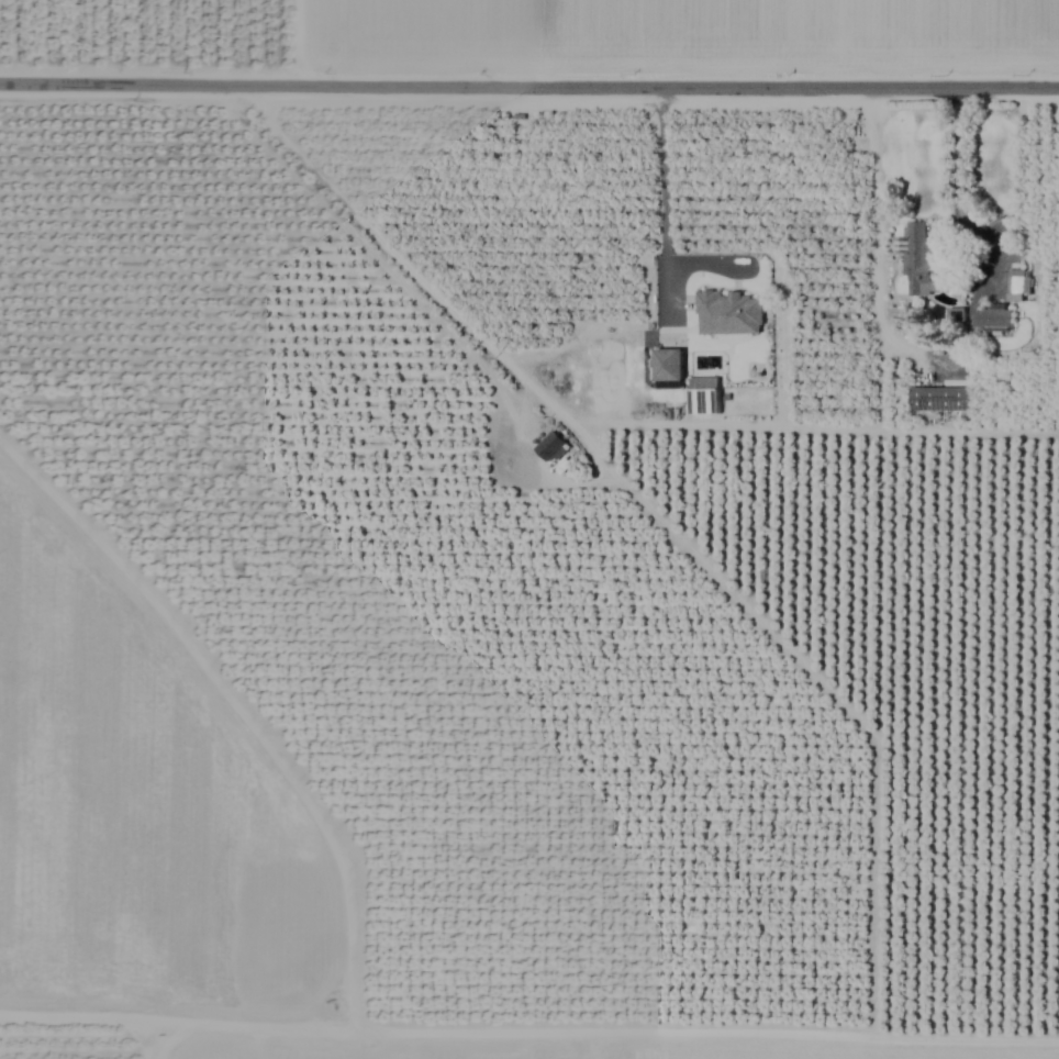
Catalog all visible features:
road: (528, 83)
road: (661, 186)
road: (956, 190)
road: (876, 218)
building: (996, 230)
building: (1013, 286)
building: (727, 314)
building: (992, 319)
building: (667, 369)
building: (703, 395)
building: (938, 400)
building: (549, 447)
road: (569, 482)
crop: (529, 529)

